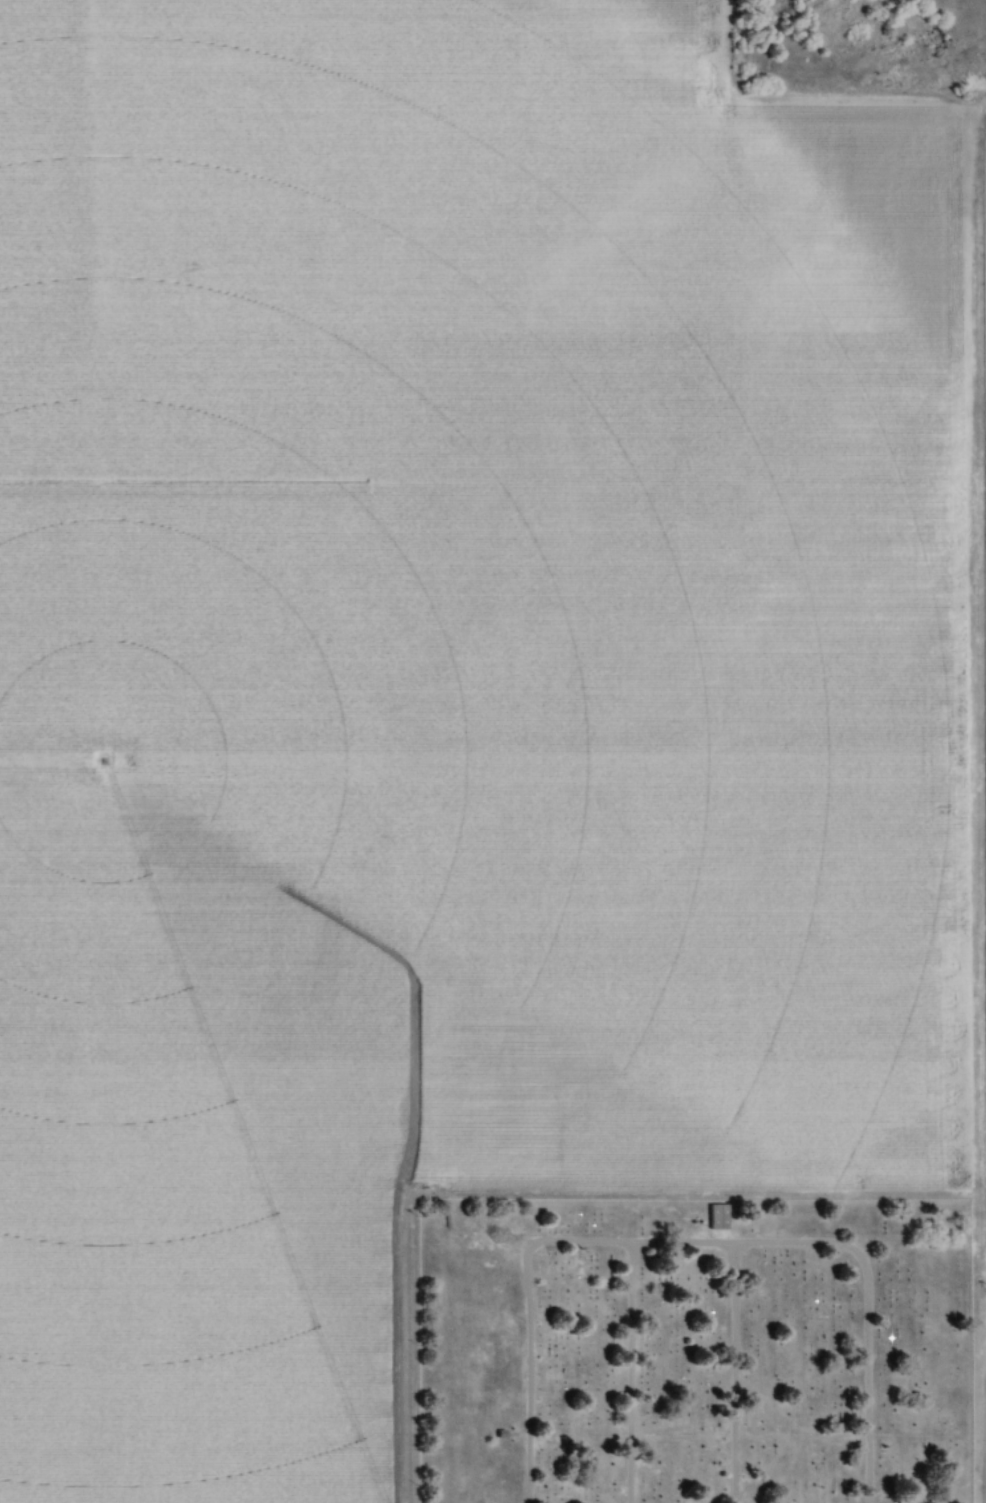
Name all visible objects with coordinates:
building: (716, 1218)
road: (690, 1242)
park: (692, 1349)
road: (733, 1372)
road: (629, 1373)
road: (747, 1437)

